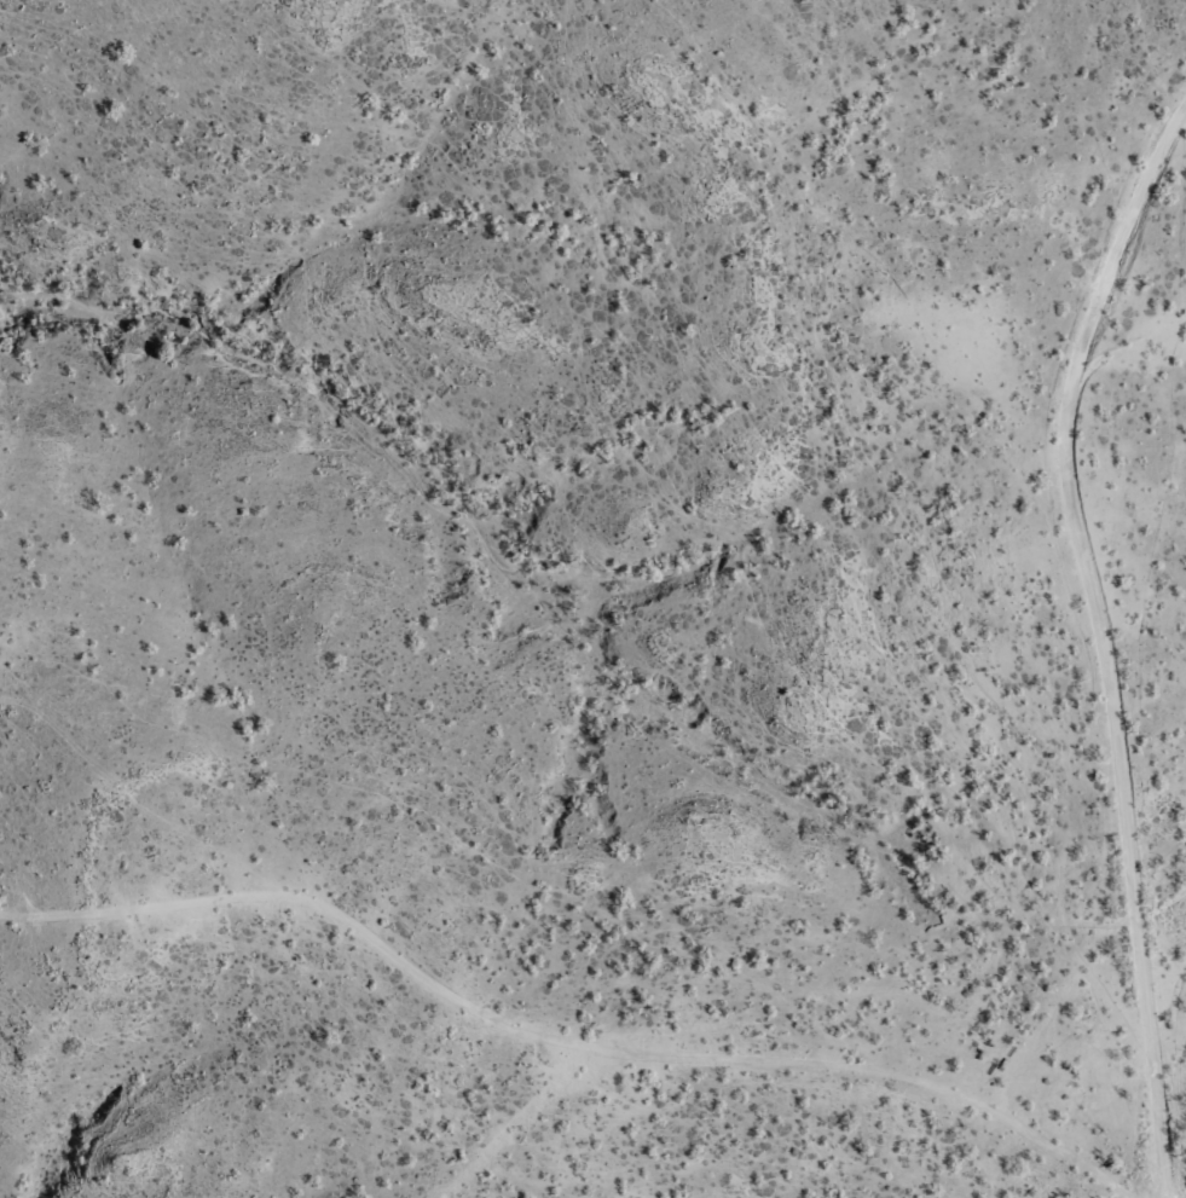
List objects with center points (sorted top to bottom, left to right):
road: (1103, 635)

